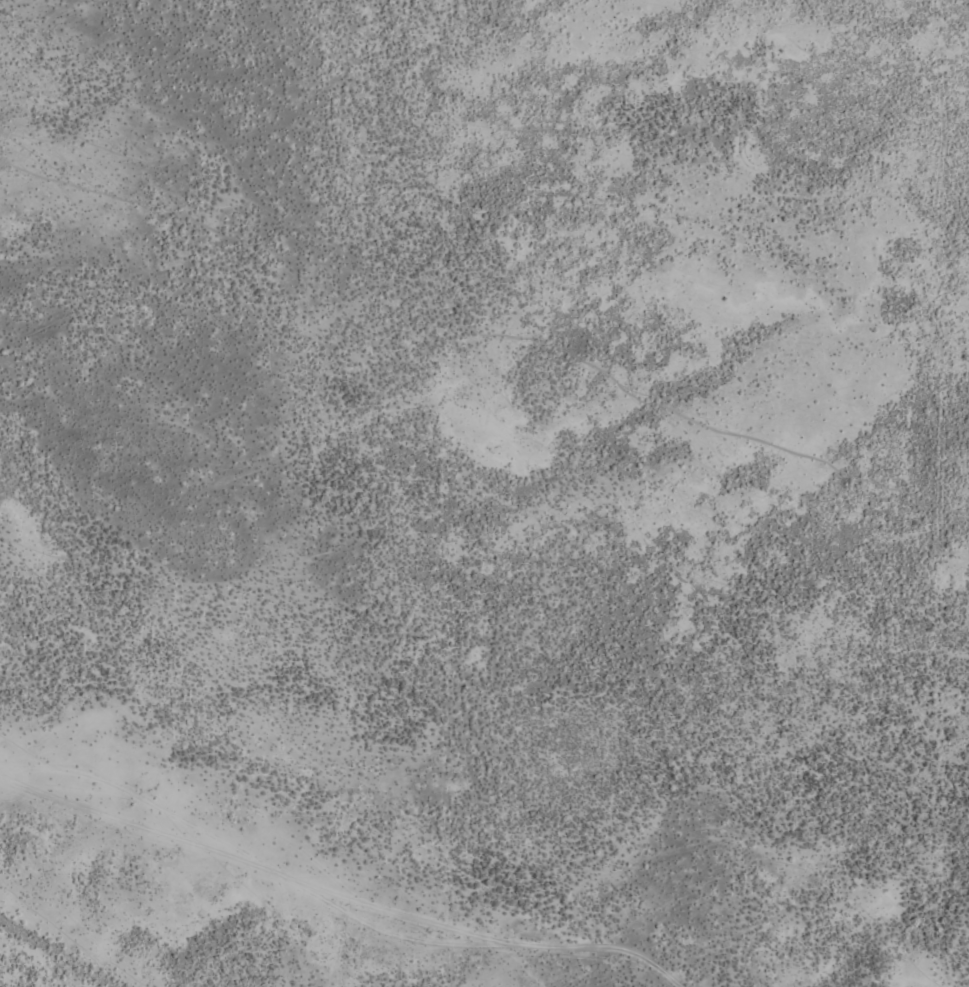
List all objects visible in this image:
road: (77, 940)

